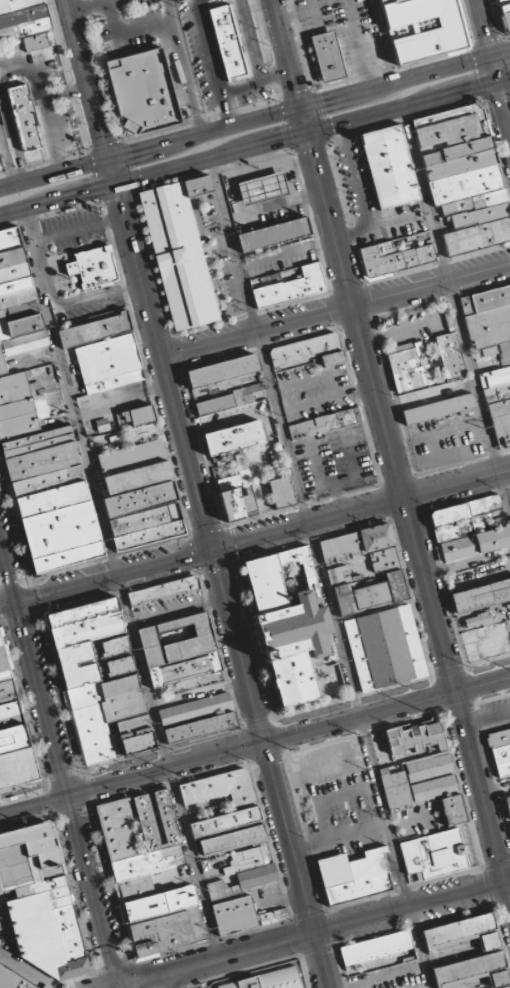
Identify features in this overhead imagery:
building: (500, 1)
building: (394, 2)
building: (506, 15)
building: (22, 18)
road: (484, 27)
building: (427, 29)
parking lot: (344, 31)
traffic signals: (487, 36)
road: (385, 41)
building: (35, 42)
building: (231, 44)
road: (501, 53)
road: (286, 54)
building: (327, 57)
road: (188, 67)
road: (495, 69)
road: (88, 80)
road: (504, 80)
traffic signals: (295, 88)
traffic signals: (470, 89)
building: (143, 90)
traffic signals: (324, 102)
road: (503, 103)
road: (301, 108)
building: (24, 117)
building: (450, 128)
road: (307, 133)
traffic signals: (104, 138)
traffic signals: (281, 141)
building: (456, 152)
traffic signals: (313, 153)
traffic signals: (130, 155)
road: (7, 158)
building: (460, 165)
building: (390, 167)
building: (0, 168)
road: (113, 171)
road: (54, 174)
building: (465, 184)
building: (199, 185)
traffic signals: (91, 189)
building: (260, 189)
gas station: (260, 189)
road: (360, 194)
road: (57, 198)
parking lot: (372, 200)
building: (471, 204)
traffic signals: (122, 205)
building: (480, 215)
building: (274, 234)
building: (477, 236)
building: (397, 254)
building: (179, 255)
building: (280, 258)
building: (93, 266)
building: (292, 287)
building: (490, 298)
building: (17, 302)
road: (352, 302)
road: (454, 305)
road: (335, 309)
building: (488, 327)
building: (94, 330)
building: (304, 349)
building: (451, 356)
building: (107, 358)
building: (332, 358)
road: (164, 365)
building: (222, 370)
building: (410, 370)
building: (494, 377)
building: (114, 381)
parking lot: (314, 391)
building: (434, 394)
building: (214, 404)
building: (498, 408)
building: (438, 409)
building: (135, 417)
building: (325, 423)
building: (502, 428)
building: (143, 433)
building: (233, 438)
parking lot: (446, 440)
building: (131, 458)
parking lot: (335, 460)
building: (136, 477)
building: (45, 481)
road: (457, 482)
building: (281, 492)
building: (139, 499)
building: (232, 504)
building: (462, 518)
building: (138, 521)
road: (308, 523)
building: (148, 535)
building: (376, 537)
building: (339, 545)
building: (472, 545)
traffic signals: (212, 549)
road: (9, 567)
road: (322, 573)
road: (115, 575)
road: (121, 584)
building: (396, 586)
building: (163, 590)
building: (370, 595)
road: (429, 595)
building: (481, 595)
building: (342, 600)
traffic signals: (18, 601)
road: (9, 603)
building: (477, 621)
building: (286, 625)
building: (114, 646)
road: (237, 646)
building: (385, 648)
building: (179, 649)
road: (488, 660)
building: (120, 666)
road: (449, 671)
building: (97, 685)
road: (482, 685)
road: (353, 696)
building: (194, 708)
road: (358, 718)
road: (258, 721)
building: (199, 727)
building: (13, 732)
building: (414, 738)
building: (499, 738)
railway: (255, 742)
road: (163, 747)
building: (501, 754)
building: (428, 766)
building: (503, 768)
road: (166, 769)
road: (62, 774)
road: (20, 785)
building: (220, 788)
building: (395, 789)
road: (69, 792)
road: (482, 795)
building: (441, 797)
railway: (2, 804)
road: (35, 804)
building: (508, 804)
building: (226, 821)
building: (233, 839)
building: (434, 854)
building: (245, 861)
road: (296, 865)
building: (148, 876)
building: (354, 876)
building: (245, 881)
building: (40, 901)
building: (234, 915)
building: (464, 933)
road: (313, 934)
building: (376, 947)
road: (25, 971)
building: (473, 971)
road: (181, 977)
parking lot: (13, 979)
building: (268, 979)
road: (104, 986)
road: (116, 986)
road: (117, 986)
building: (506, 987)

